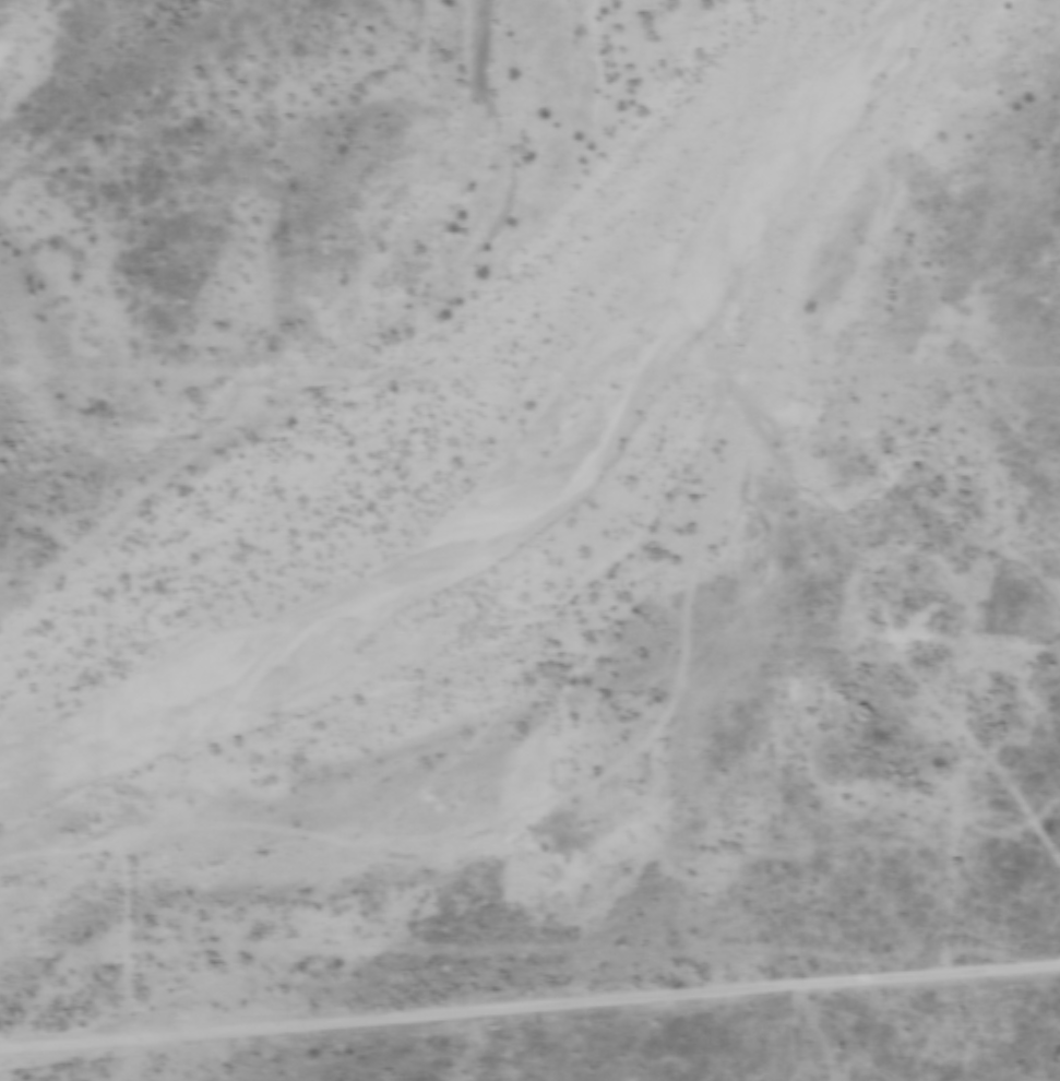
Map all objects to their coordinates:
road: (529, 1003)

